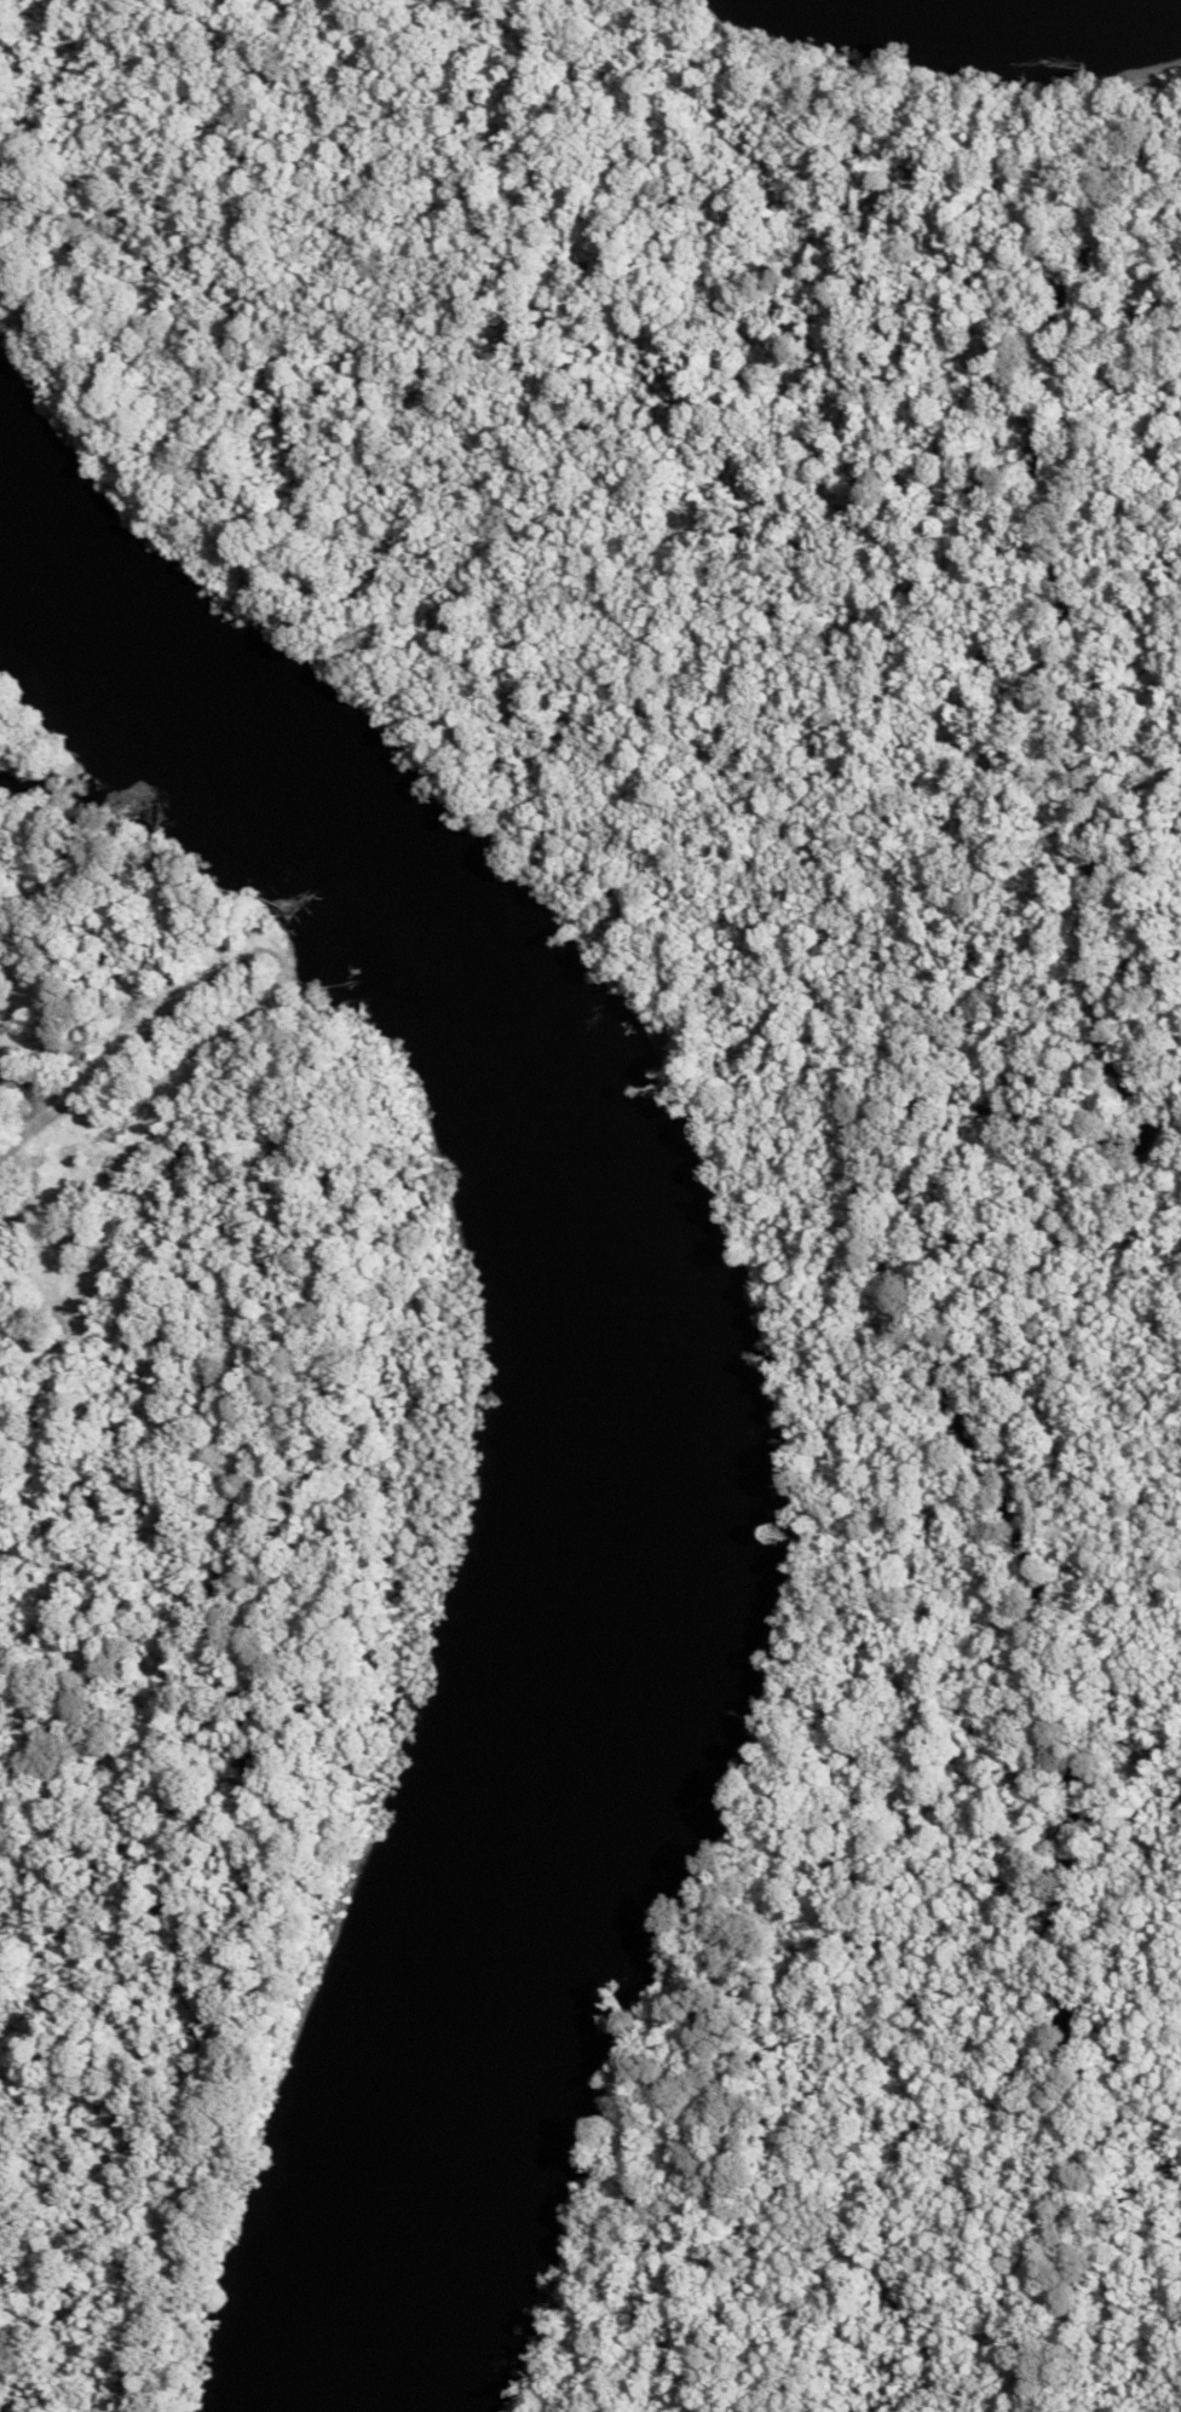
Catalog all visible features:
road: (100, 1071)
river: (500, 1377)

